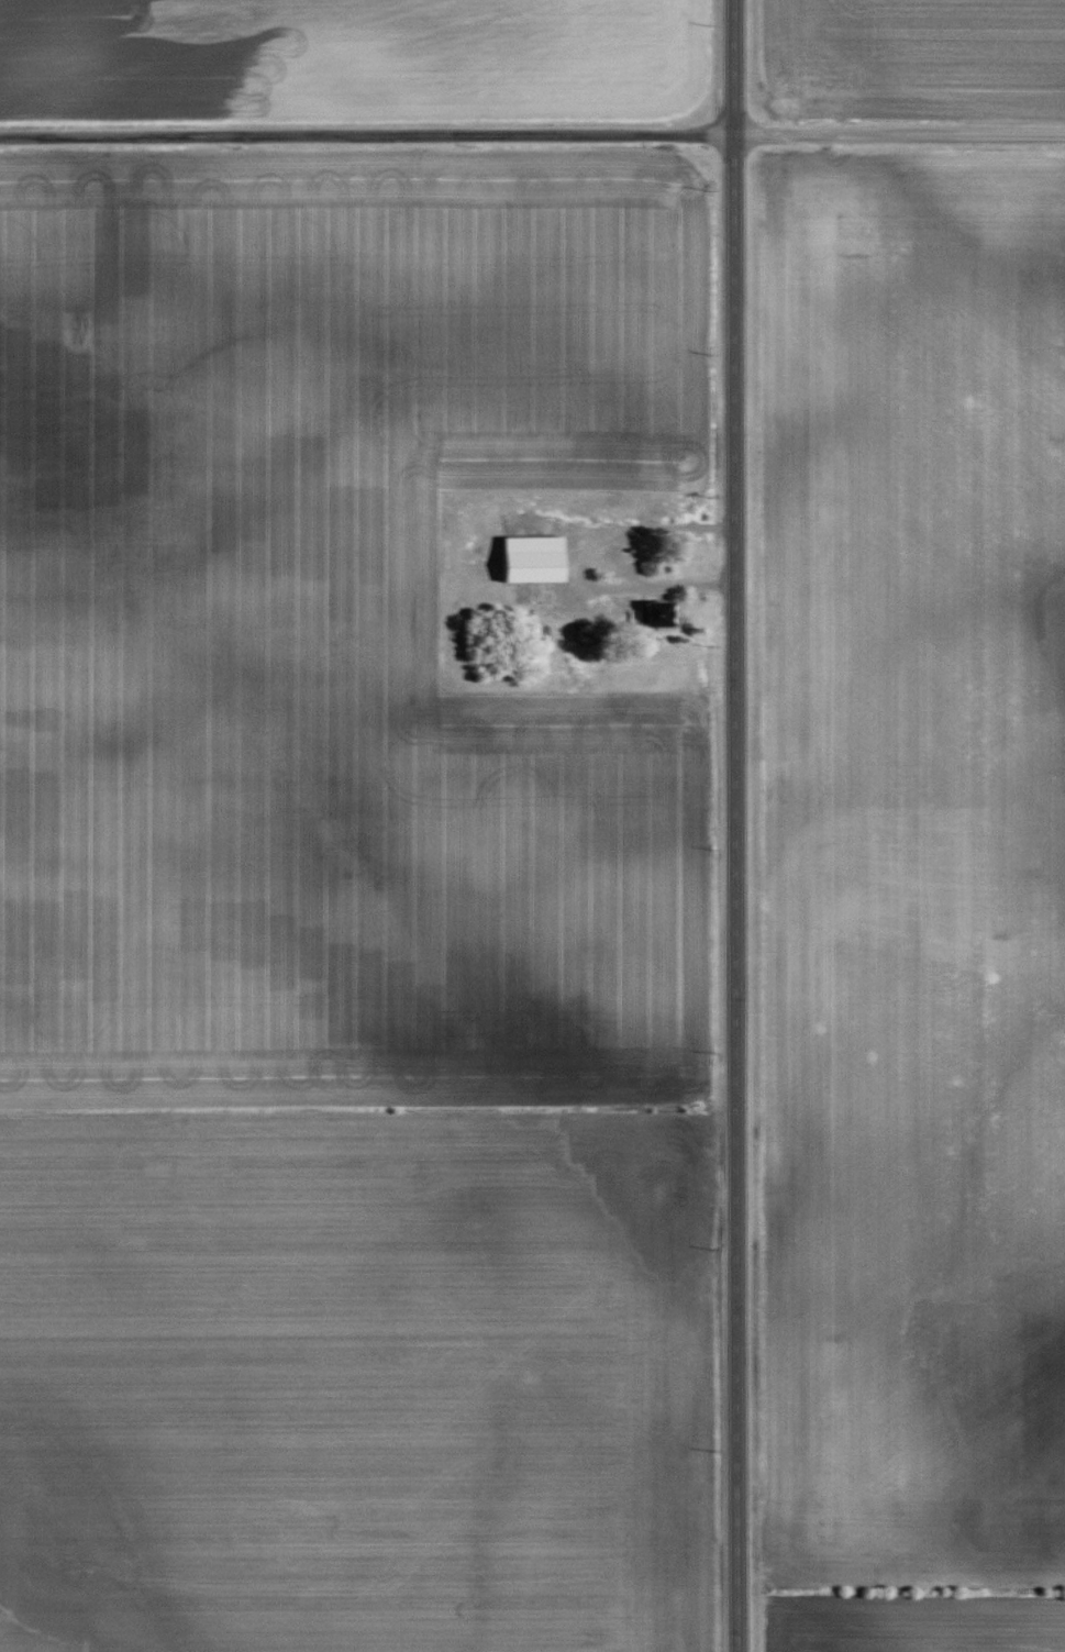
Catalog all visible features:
road: (532, 134)
building: (531, 559)
building: (653, 614)
road: (732, 825)

